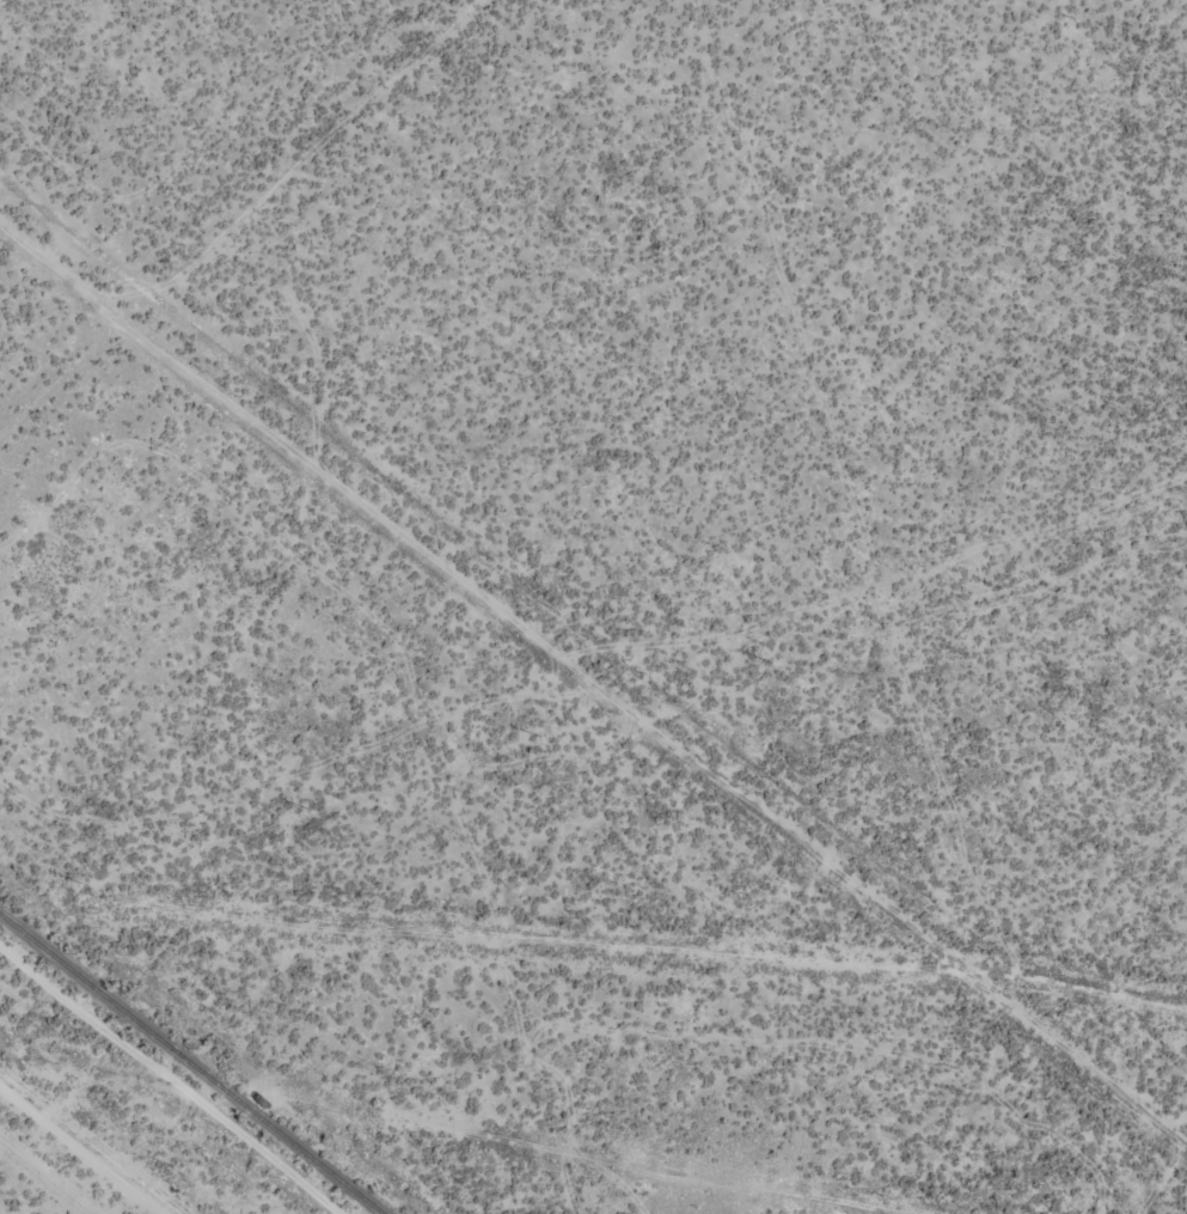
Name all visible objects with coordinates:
railway: (189, 1063)

